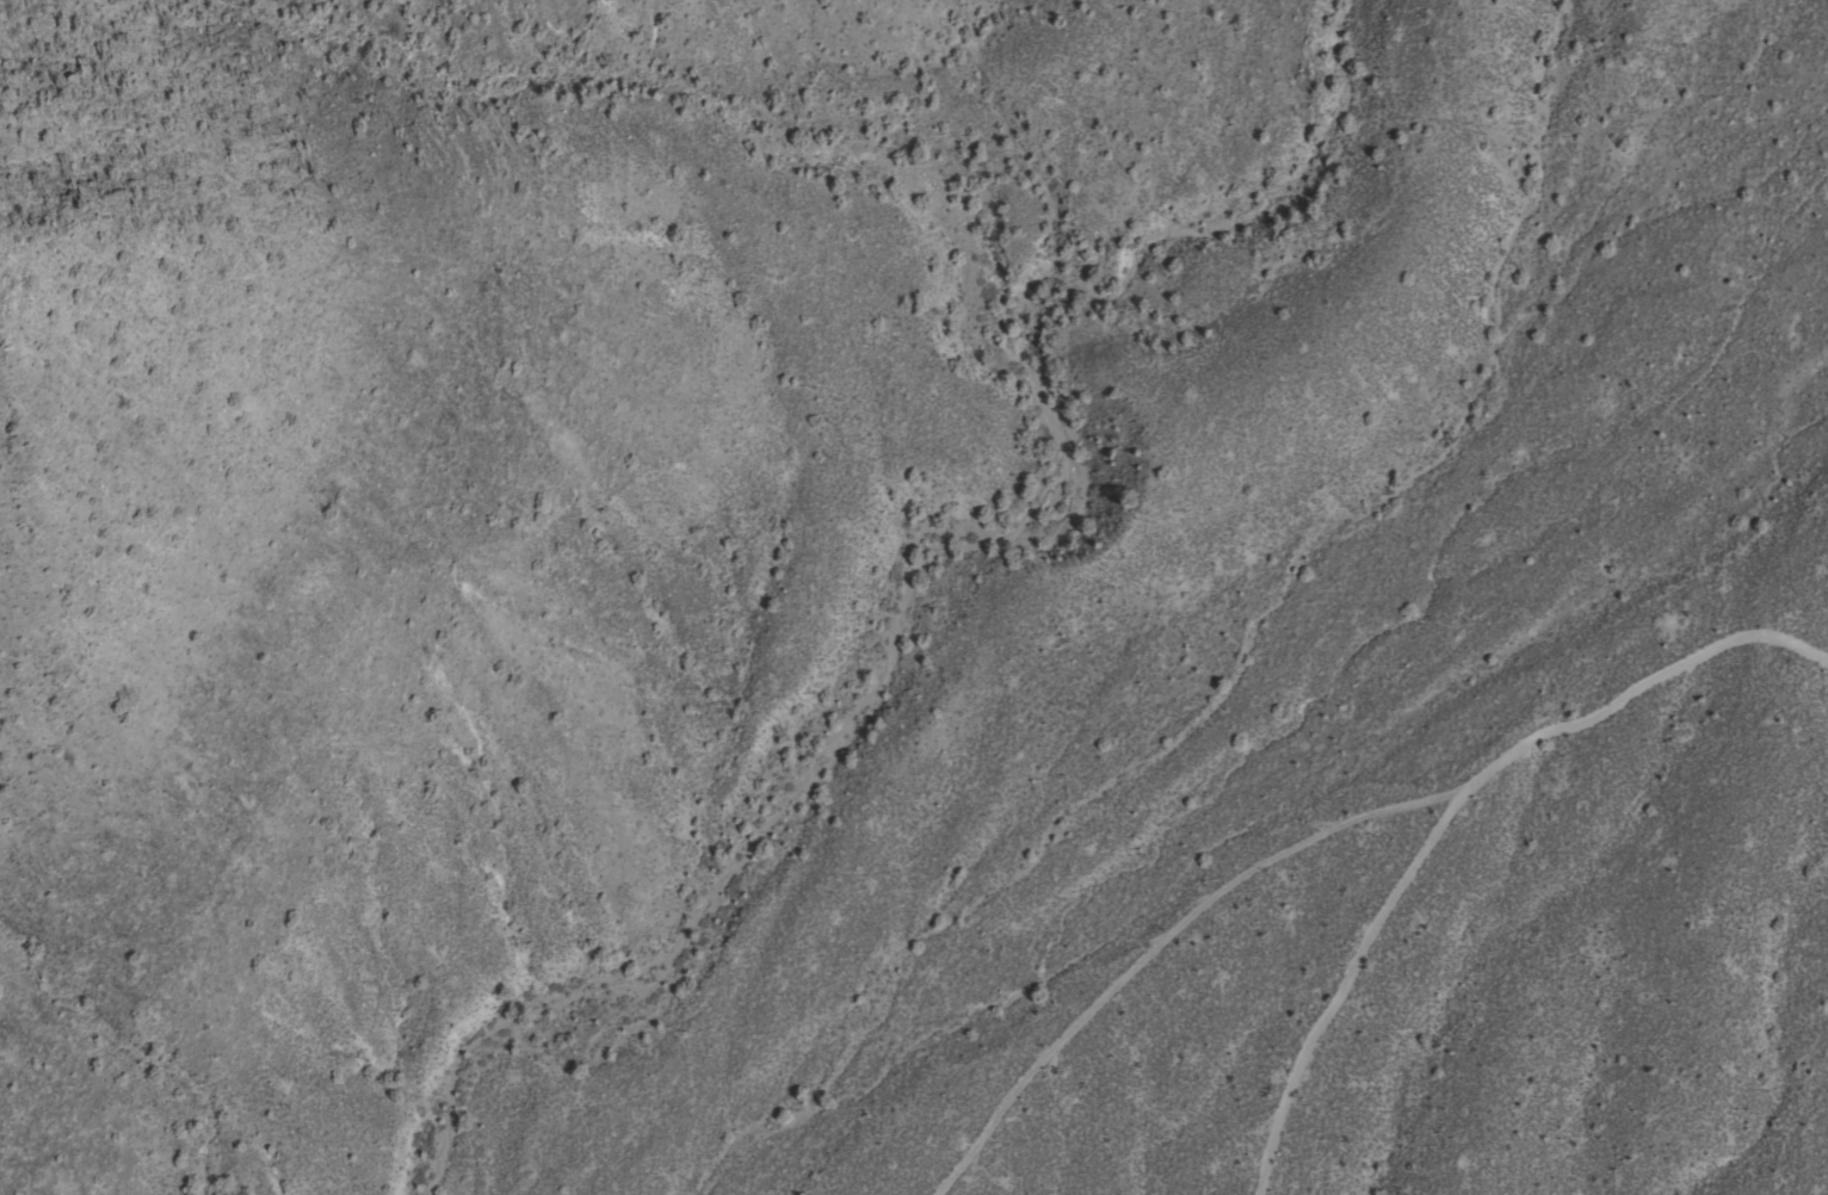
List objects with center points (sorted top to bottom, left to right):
road: (1446, 806)
road: (1157, 943)

